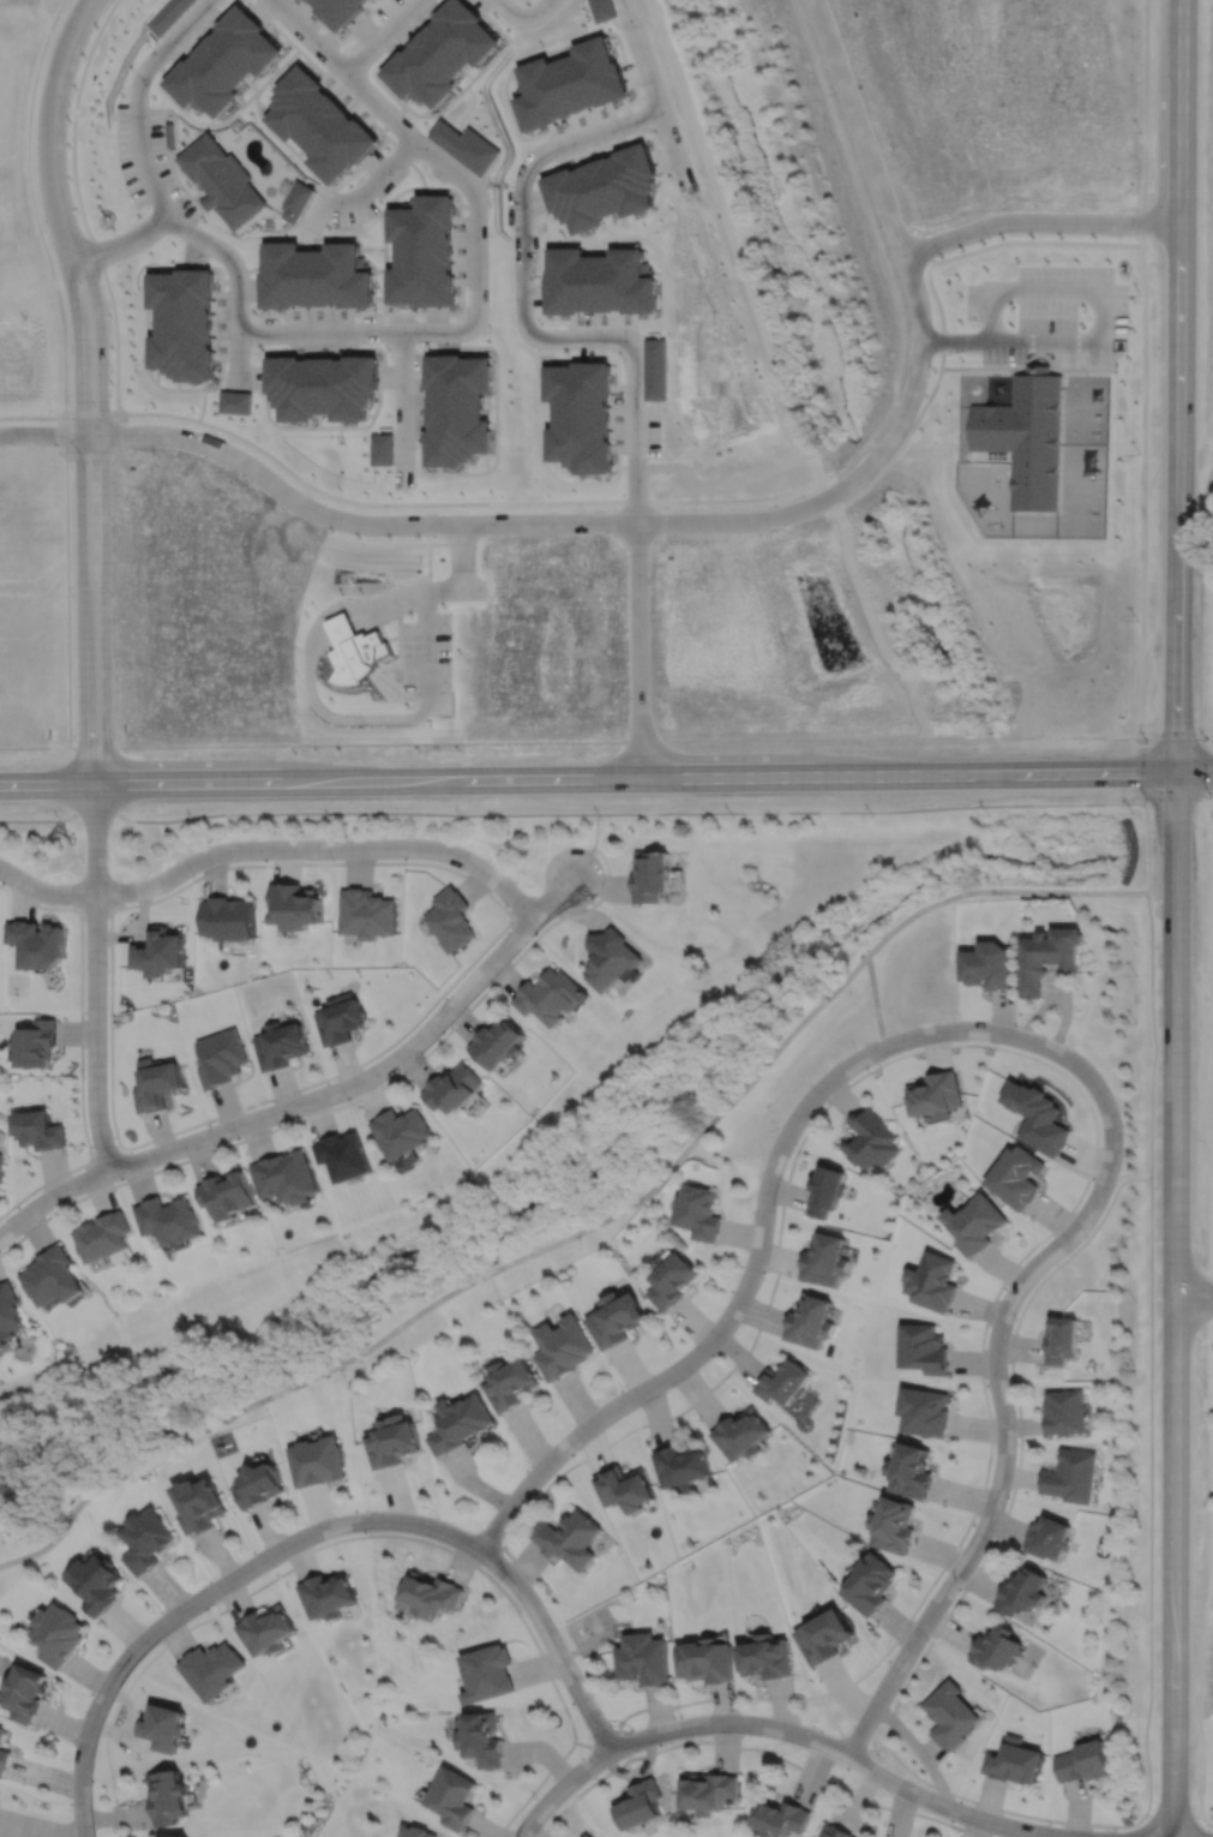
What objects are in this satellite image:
building: (310, 0)
building: (602, 10)
building: (338, 11)
building: (164, 14)
road: (526, 16)
road: (383, 36)
building: (440, 54)
road: (642, 54)
building: (223, 62)
building: (569, 84)
road: (52, 109)
building: (319, 125)
building: (169, 133)
building: (466, 146)
road: (675, 150)
road: (378, 178)
building: (222, 181)
building: (604, 187)
road: (158, 196)
building: (298, 201)
road: (1039, 221)
road: (480, 232)
road: (120, 244)
building: (422, 253)
building: (314, 277)
building: (600, 281)
road: (937, 300)
road: (524, 317)
building: (180, 325)
road: (899, 327)
road: (1100, 330)
road: (322, 331)
road: (919, 353)
road: (64, 367)
road: (1143, 369)
road: (1178, 385)
building: (322, 389)
road: (116, 393)
building: (235, 401)
building: (458, 411)
building: (580, 415)
road: (31, 417)
road: (38, 433)
building: (1026, 438)
building: (382, 449)
road: (103, 498)
road: (78, 503)
road: (346, 520)
road: (1195, 560)
road: (1200, 596)
road: (638, 650)
road: (1207, 734)
road: (635, 741)
road: (34, 747)
road: (1194, 771)
road: (587, 778)
road: (316, 812)
road: (270, 848)
street lamp: (595, 851)
street lamp: (490, 858)
street lamp: (332, 860)
street lamp: (83, 861)
street lamp: (193, 875)
building: (653, 876)
street lamp: (2, 884)
building: (296, 906)
road: (95, 909)
building: (368, 914)
building: (228, 918)
building: (452, 920)
street lamp: (535, 932)
building: (38, 944)
building: (160, 952)
building: (612, 958)
building: (1050, 958)
building: (990, 967)
street lamp: (108, 969)
road: (95, 977)
building: (552, 997)
road: (875, 1000)
street lamp: (962, 1017)
building: (342, 1019)
road: (407, 1029)
street lamp: (442, 1033)
street lamp: (1064, 1041)
building: (36, 1045)
building: (499, 1045)
road: (79, 1046)
building: (281, 1046)
street lamp: (855, 1046)
building: (221, 1058)
street lamp: (83, 1077)
building: (157, 1085)
building: (457, 1091)
building: (936, 1096)
road: (314, 1099)
street lamp: (348, 1099)
road: (352, 1101)
building: (1038, 1117)
street lamp: (1122, 1125)
street lamp: (776, 1130)
building: (38, 1131)
building: (402, 1133)
street lamp: (238, 1137)
building: (871, 1141)
road: (106, 1151)
building: (346, 1157)
building: (1, 1169)
street lamp: (120, 1178)
building: (1019, 1178)
building: (287, 1179)
building: (827, 1191)
building: (227, 1197)
street lamp: (750, 1207)
building: (697, 1209)
building: (168, 1221)
road: (586, 1226)
building: (977, 1226)
street lamp: (1086, 1234)
building: (103, 1238)
road: (759, 1240)
building: (825, 1256)
building: (50, 1274)
building: (672, 1276)
building: (935, 1279)
street lamp: (729, 1290)
road: (769, 1297)
road: (1194, 1297)
road: (1175, 1304)
building: (7, 1309)
building: (615, 1316)
building: (810, 1318)
street lamp: (1015, 1318)
building: (1062, 1338)
building: (562, 1345)
building: (925, 1347)
building: (785, 1380)
building: (510, 1381)
street lamp: (621, 1389)
road: (999, 1396)
building: (926, 1410)
building: (1065, 1410)
building: (458, 1420)
building: (741, 1432)
building: (392, 1440)
street lamp: (1016, 1443)
building: (317, 1459)
building: (680, 1465)
street lamp: (527, 1466)
building: (912, 1468)
building: (1073, 1474)
building: (258, 1484)
building: (624, 1486)
building: (198, 1503)
road: (1149, 1508)
street lamp: (436, 1516)
street lamp: (305, 1522)
building: (895, 1524)
road: (313, 1532)
road: (365, 1534)
building: (569, 1537)
building: (1049, 1537)
building: (144, 1538)
street lamp: (987, 1545)
road: (938, 1572)
building: (94, 1581)
building: (871, 1584)
building: (1022, 1590)
building: (431, 1593)
building: (326, 1594)
street lamp: (160, 1610)
street lamp: (521, 1610)
building: (265, 1629)
building: (55, 1633)
building: (825, 1635)
street lamp: (926, 1639)
building: (996, 1647)
building: (767, 1657)
building: (643, 1658)
building: (705, 1659)
building: (210, 1669)
building: (488, 1673)
building: (25, 1692)
street lamp: (89, 1692)
street lamp: (680, 1713)
building: (950, 1715)
street lamp: (608, 1721)
building: (161, 1727)
street lamp: (817, 1727)
road: (781, 1729)
road: (843, 1735)
building: (482, 1739)
road: (755, 1747)
building: (4, 1754)
building: (1014, 1761)
building: (1083, 1761)
building: (705, 1791)
street lamp: (888, 1794)
building: (167, 1797)
building: (452, 1797)
street lamp: (534, 1797)
street lamp: (68, 1800)
building: (636, 1805)
building: (780, 1819)
street lamp: (1049, 1823)
road: (1147, 1824)
road: (1207, 1826)
building: (833, 1831)
building: (416, 1832)
building: (175, 1835)
building: (586, 1835)

